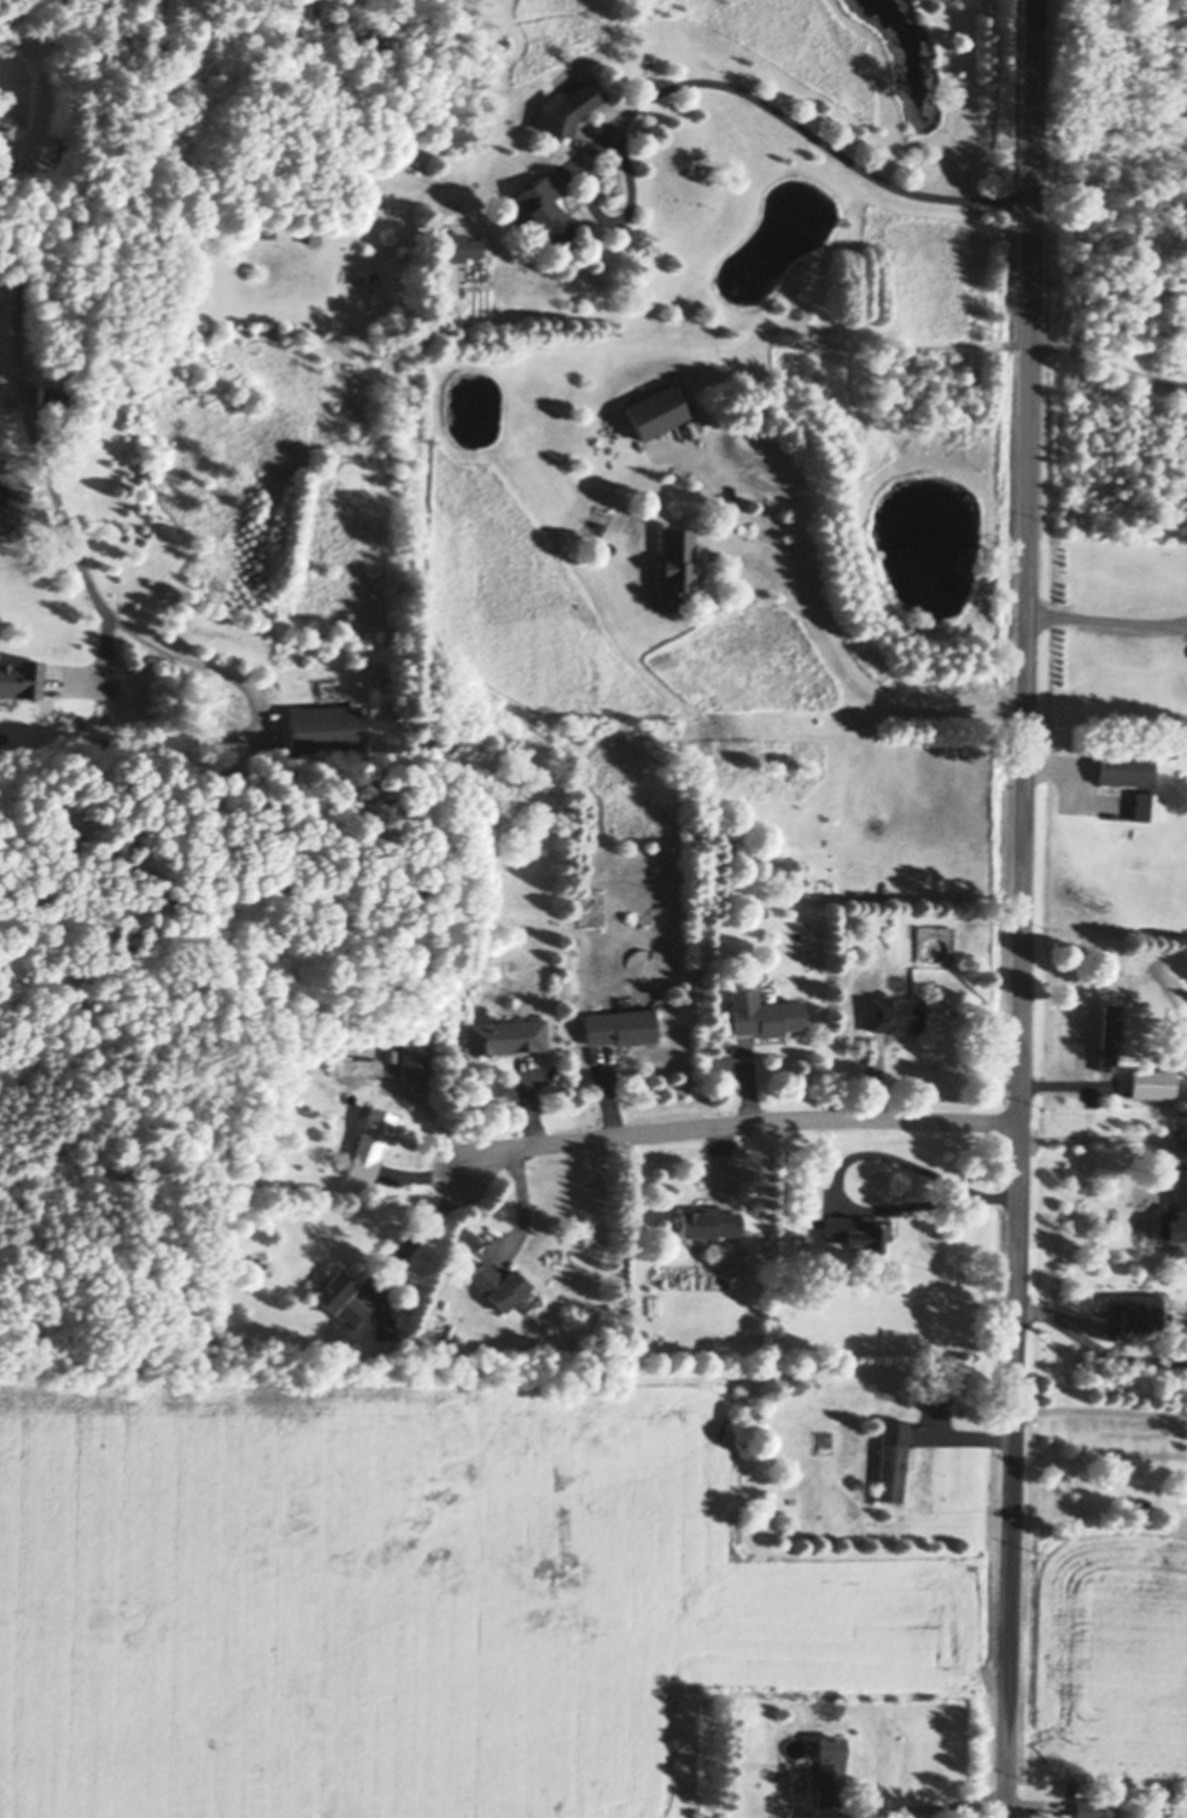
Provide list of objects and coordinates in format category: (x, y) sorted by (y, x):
building: (567, 105)
road: (821, 133)
building: (544, 205)
building: (315, 232)
building: (473, 244)
road: (1110, 352)
road: (13, 356)
building: (51, 393)
building: (656, 408)
building: (676, 563)
road: (1107, 614)
road: (847, 651)
road: (192, 655)
building: (22, 677)
building: (324, 725)
road: (1068, 766)
building: (1125, 766)
building: (1148, 803)
road: (1024, 908)
building: (762, 1010)
building: (895, 1011)
building: (621, 1023)
building: (508, 1034)
building: (1110, 1034)
building: (415, 1059)
building: (1153, 1081)
road: (737, 1126)
road: (1103, 1138)
building: (372, 1141)
road: (838, 1194)
building: (809, 1200)
building: (1176, 1208)
building: (711, 1220)
building: (858, 1228)
road: (415, 1229)
building: (499, 1282)
building: (340, 1296)
building: (1139, 1309)
building: (384, 1325)
building: (448, 1331)
road: (1098, 1345)
road: (1101, 1403)
building: (893, 1457)
building: (830, 1769)
road: (930, 1799)
building: (1095, 1807)

